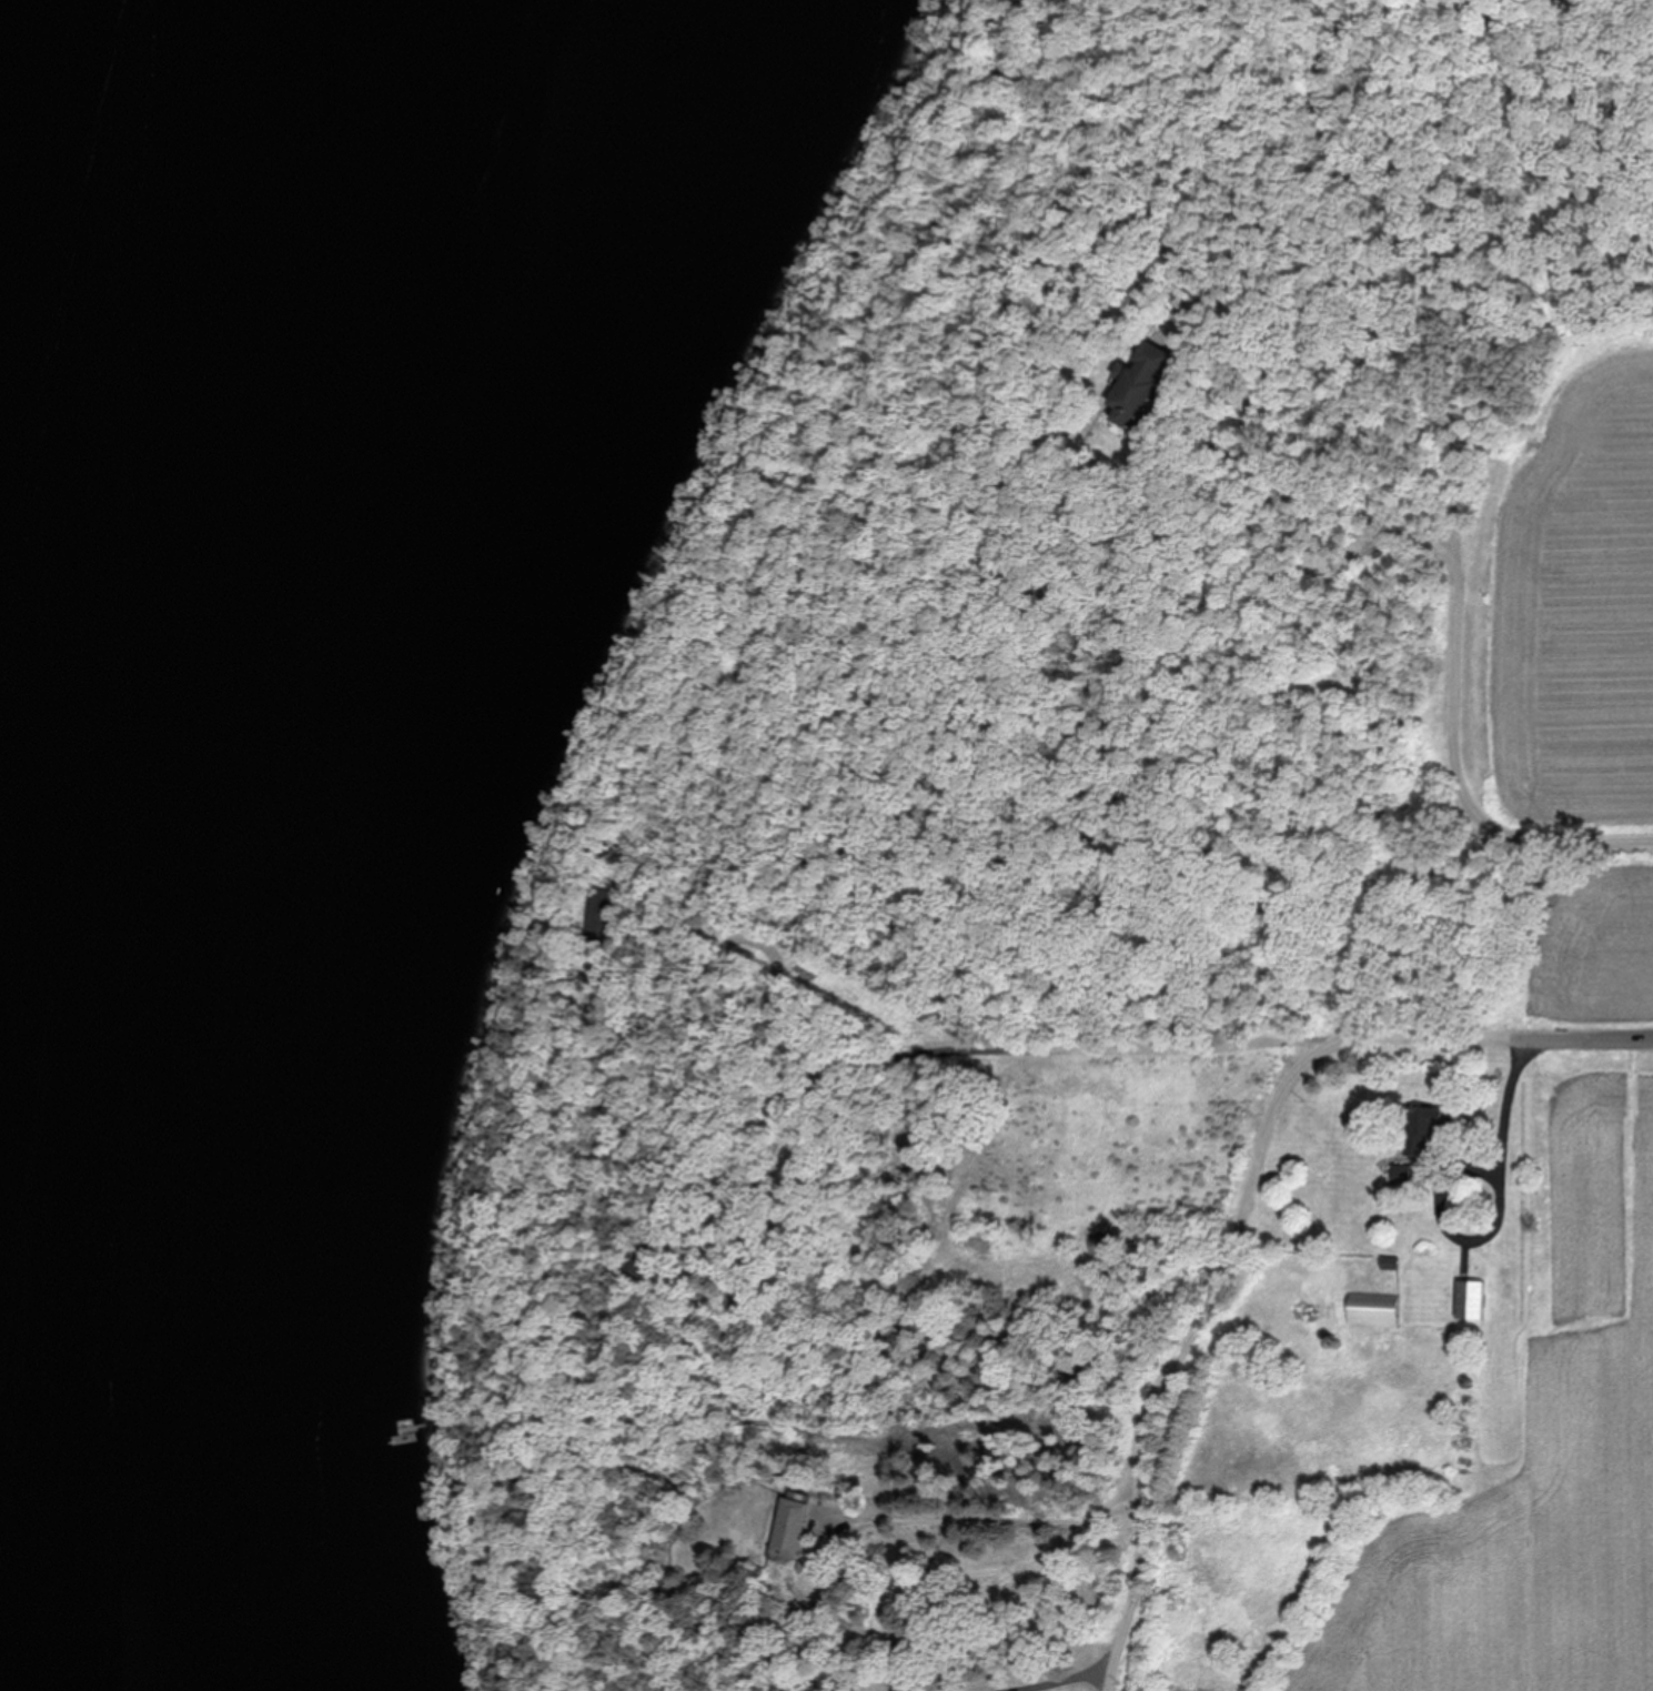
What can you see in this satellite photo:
river: (31, 91)
building: (1142, 384)
road: (1246, 450)
crop: (1564, 598)
road: (1453, 676)
building: (603, 913)
crop: (1561, 944)
road: (1293, 1043)
road: (1498, 1212)
road: (1192, 1356)
crop: (1534, 1448)
road: (1007, 1514)
building: (798, 1520)
road: (1068, 1679)

